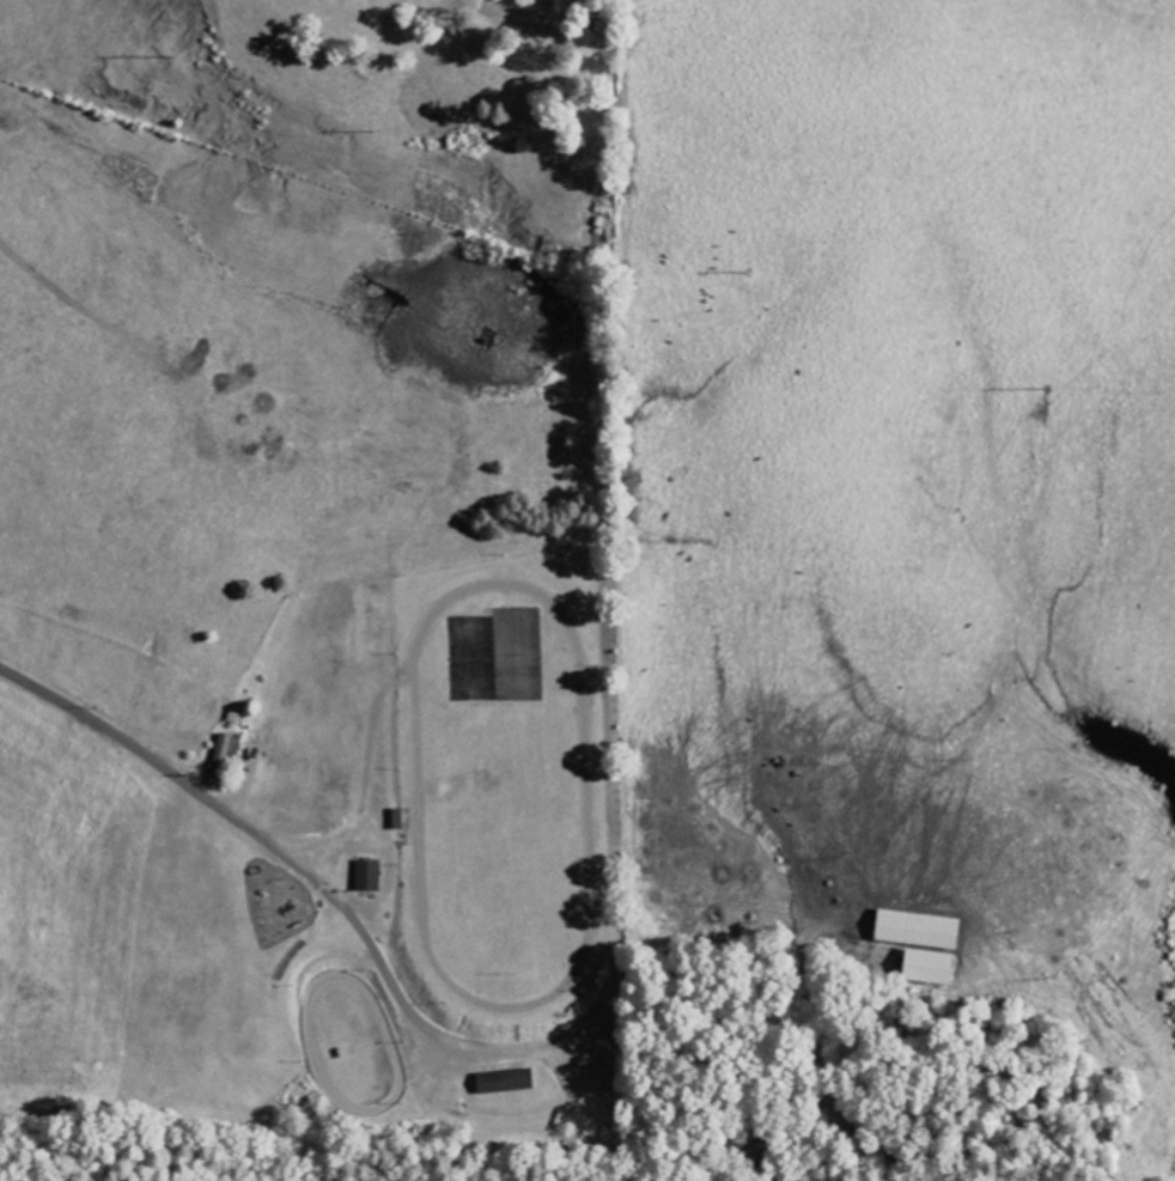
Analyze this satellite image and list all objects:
building: (224, 757)
track: (505, 795)
park: (412, 859)
road: (293, 860)
building: (369, 877)
building: (919, 931)
building: (930, 968)
track: (358, 1043)
road: (589, 1064)
building: (506, 1083)

